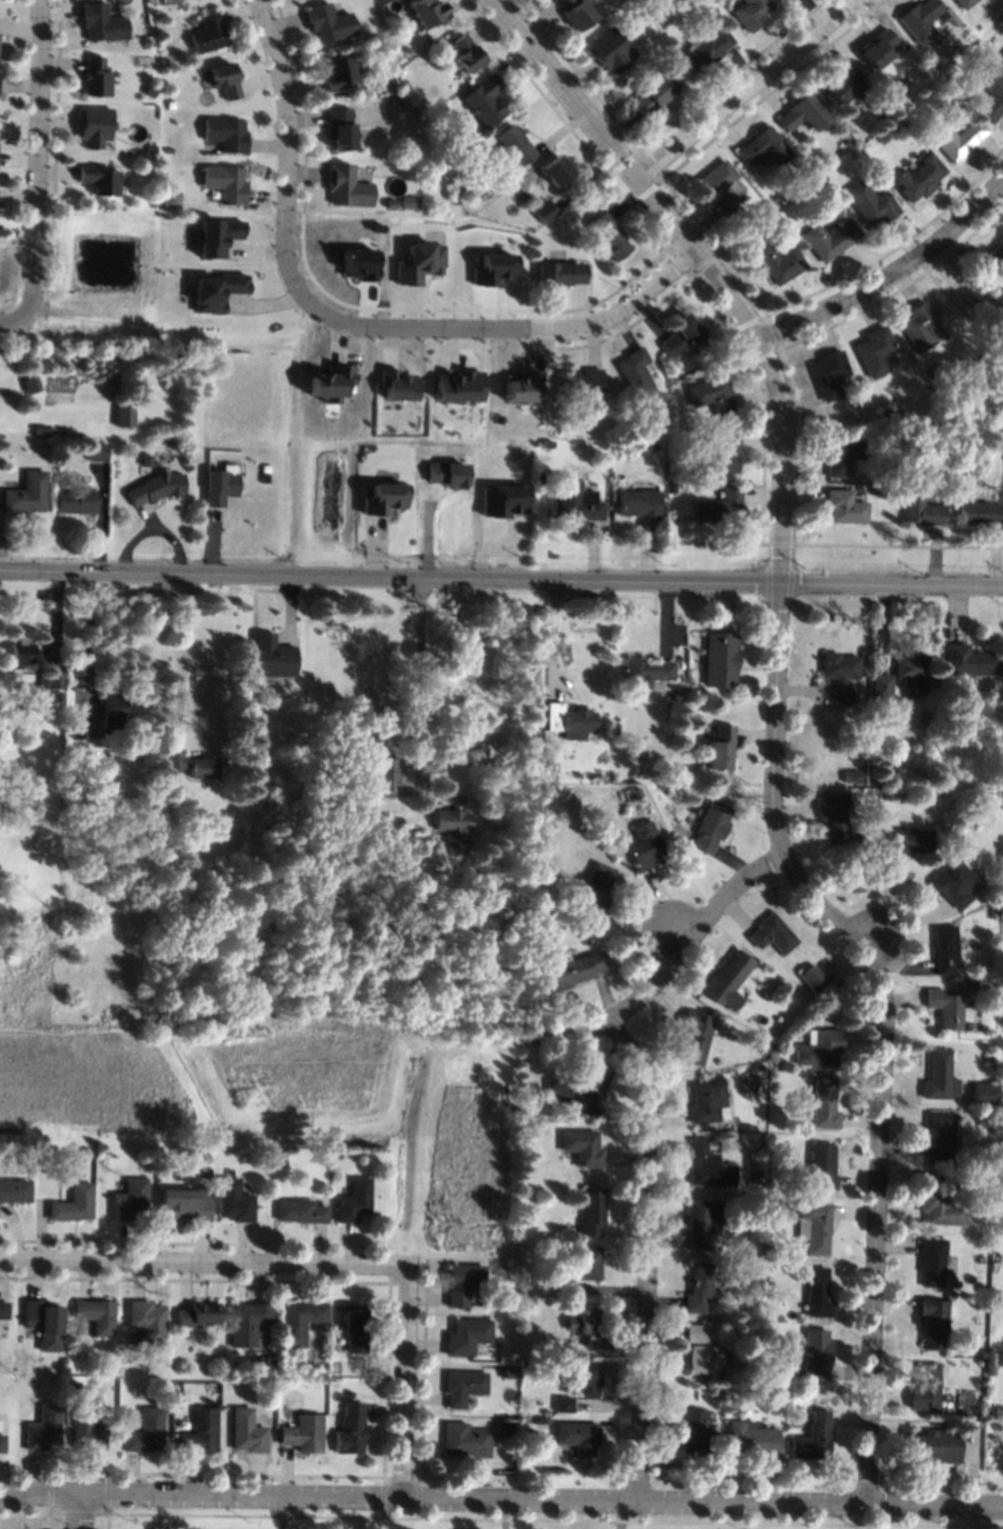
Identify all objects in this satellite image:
building: (712, 1)
building: (966, 3)
building: (428, 12)
building: (576, 13)
building: (752, 13)
building: (944, 16)
building: (921, 19)
building: (956, 20)
building: (102, 23)
building: (328, 23)
building: (208, 33)
building: (145, 43)
building: (878, 48)
building: (706, 49)
building: (609, 50)
building: (408, 51)
building: (465, 54)
building: (1002, 54)
building: (339, 75)
building: (94, 76)
building: (225, 80)
building: (843, 82)
road: (747, 86)
building: (148, 91)
building: (863, 92)
building: (655, 93)
building: (992, 94)
building: (396, 102)
building: (485, 102)
building: (804, 113)
building: (94, 126)
building: (340, 129)
building: (226, 134)
building: (958, 138)
building: (884, 139)
building: (848, 144)
building: (516, 145)
building: (764, 147)
building: (151, 148)
building: (445, 149)
building: (169, 150)
road: (287, 151)
road: (37, 154)
building: (556, 170)
building: (920, 178)
building: (97, 179)
building: (225, 183)
building: (347, 187)
building: (719, 187)
building: (524, 197)
building: (773, 200)
building: (153, 202)
building: (167, 202)
building: (408, 203)
building: (870, 203)
building: (391, 204)
building: (546, 211)
building: (215, 236)
building: (609, 237)
building: (829, 239)
building: (1002, 239)
building: (999, 252)
building: (777, 261)
building: (418, 263)
building: (358, 264)
building: (492, 269)
road: (892, 272)
building: (562, 273)
road: (950, 277)
building: (215, 291)
road: (14, 311)
building: (919, 326)
road: (508, 327)
building: (682, 335)
building: (874, 350)
building: (635, 370)
building: (935, 371)
building: (829, 374)
building: (330, 383)
building: (31, 384)
building: (584, 384)
building: (395, 385)
building: (458, 386)
building: (63, 387)
building: (521, 387)
building: (712, 394)
building: (125, 417)
building: (617, 427)
building: (42, 430)
building: (675, 442)
building: (548, 443)
building: (996, 448)
building: (98, 452)
building: (843, 455)
building: (721, 458)
building: (146, 460)
building: (894, 465)
building: (446, 473)
building: (265, 478)
building: (156, 487)
building: (220, 487)
building: (672, 488)
building: (888, 493)
building: (27, 494)
building: (384, 498)
building: (76, 501)
building: (502, 501)
building: (578, 501)
building: (639, 503)
building: (719, 506)
building: (845, 507)
building: (921, 509)
building: (981, 513)
road: (501, 578)
road: (554, 632)
road: (88, 637)
building: (23, 653)
road: (185, 655)
building: (274, 657)
building: (721, 660)
building: (970, 661)
road: (415, 670)
building: (648, 671)
building: (913, 671)
building: (841, 674)
building: (51, 680)
building: (882, 686)
building: (60, 697)
building: (678, 697)
building: (694, 705)
building: (113, 712)
building: (71, 715)
road: (774, 721)
building: (570, 722)
building: (81, 729)
building: (405, 742)
building: (721, 748)
building: (85, 749)
building: (544, 758)
building: (195, 766)
building: (385, 776)
building: (852, 776)
building: (635, 789)
building: (676, 793)
building: (888, 794)
building: (835, 816)
building: (550, 818)
building: (711, 827)
building: (452, 828)
building: (856, 837)
building: (182, 840)
building: (400, 841)
building: (907, 842)
building: (645, 846)
building: (954, 883)
building: (595, 892)
building: (773, 935)
building: (548, 936)
building: (945, 950)
road: (664, 955)
building: (571, 970)
building: (812, 977)
building: (728, 980)
building: (968, 984)
building: (804, 986)
building: (787, 988)
building: (946, 1008)
building: (697, 1036)
building: (819, 1047)
building: (988, 1064)
building: (939, 1077)
building: (576, 1095)
building: (989, 1097)
building: (707, 1103)
building: (823, 1105)
building: (937, 1136)
building: (582, 1148)
building: (208, 1149)
building: (85, 1151)
building: (106, 1152)
building: (336, 1153)
building: (279, 1157)
building: (706, 1166)
building: (822, 1167)
building: (229, 1172)
building: (965, 1173)
building: (756, 1177)
building: (14, 1191)
building: (130, 1200)
building: (234, 1201)
building: (354, 1201)
building: (186, 1203)
building: (73, 1204)
building: (771, 1205)
building: (781, 1205)
building: (940, 1208)
building: (301, 1211)
building: (591, 1212)
building: (1002, 1221)
building: (702, 1222)
building: (813, 1225)
building: (982, 1240)
road: (638, 1254)
road: (202, 1261)
building: (931, 1261)
building: (587, 1263)
building: (781, 1264)
building: (463, 1283)
building: (561, 1287)
building: (697, 1288)
building: (818, 1293)
building: (978, 1303)
building: (4, 1310)
building: (198, 1314)
building: (98, 1316)
building: (147, 1321)
building: (247, 1321)
building: (300, 1321)
building: (935, 1322)
building: (44, 1323)
building: (353, 1327)
building: (585, 1327)
building: (694, 1333)
building: (467, 1336)
building: (816, 1355)
building: (703, 1359)
building: (997, 1360)
building: (978, 1362)
building: (290, 1366)
building: (236, 1368)
building: (265, 1370)
building: (570, 1374)
road: (403, 1380)
building: (587, 1383)
building: (463, 1387)
building: (926, 1388)
building: (348, 1394)
building: (779, 1398)
building: (563, 1404)
building: (544, 1420)
building: (996, 1427)
building: (44, 1428)
building: (88, 1429)
building: (350, 1429)
building: (146, 1432)
building: (200, 1432)
building: (247, 1432)
building: (692, 1432)
building: (303, 1434)
building: (577, 1438)
building: (813, 1438)
building: (995, 1439)
building: (464, 1440)
building: (751, 1440)
building: (2, 1444)
building: (935, 1446)
road: (501, 1497)
road: (50, 1509)
road: (80, 1509)
road: (107, 1509)
road: (281, 1511)
road: (505, 1513)
road: (620, 1514)
park: (328, 1518)
road: (501, 1519)
park: (782, 1521)

